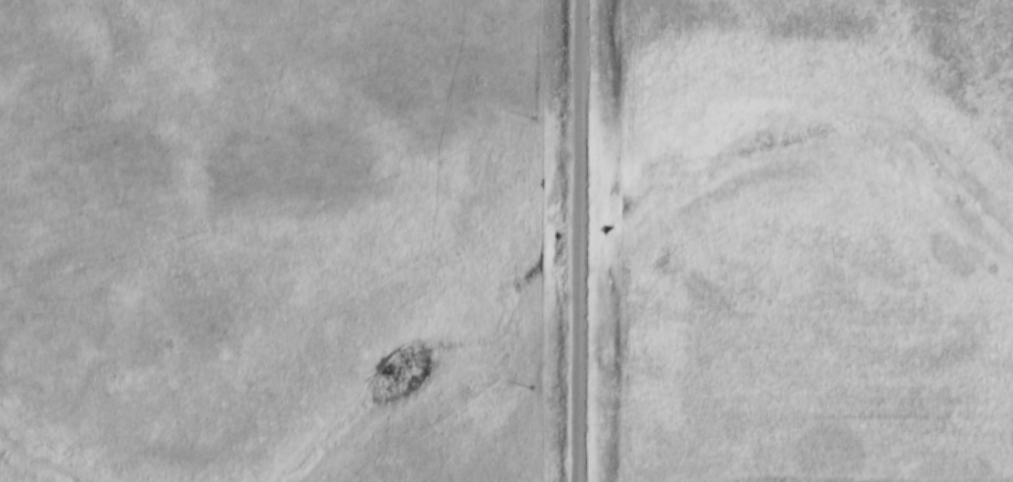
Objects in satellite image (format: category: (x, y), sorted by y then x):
road: (577, 240)

